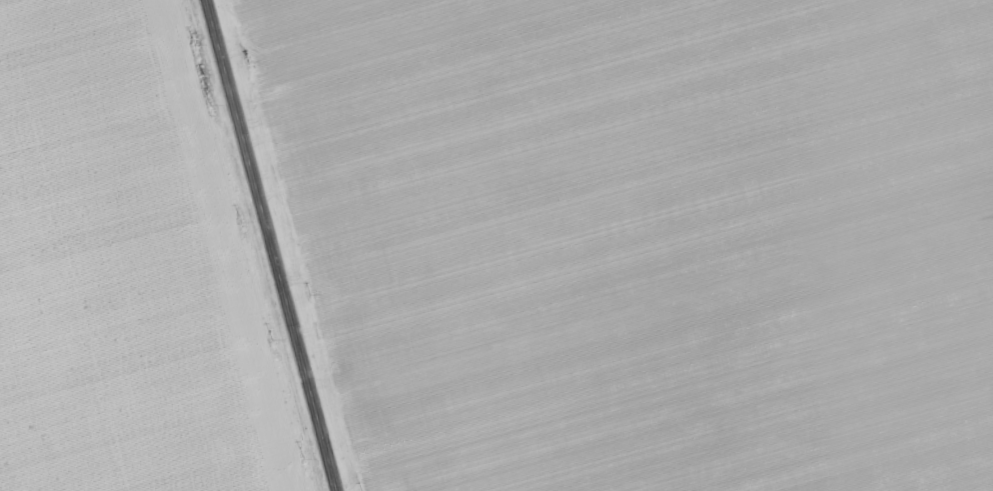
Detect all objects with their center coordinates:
road: (270, 245)

